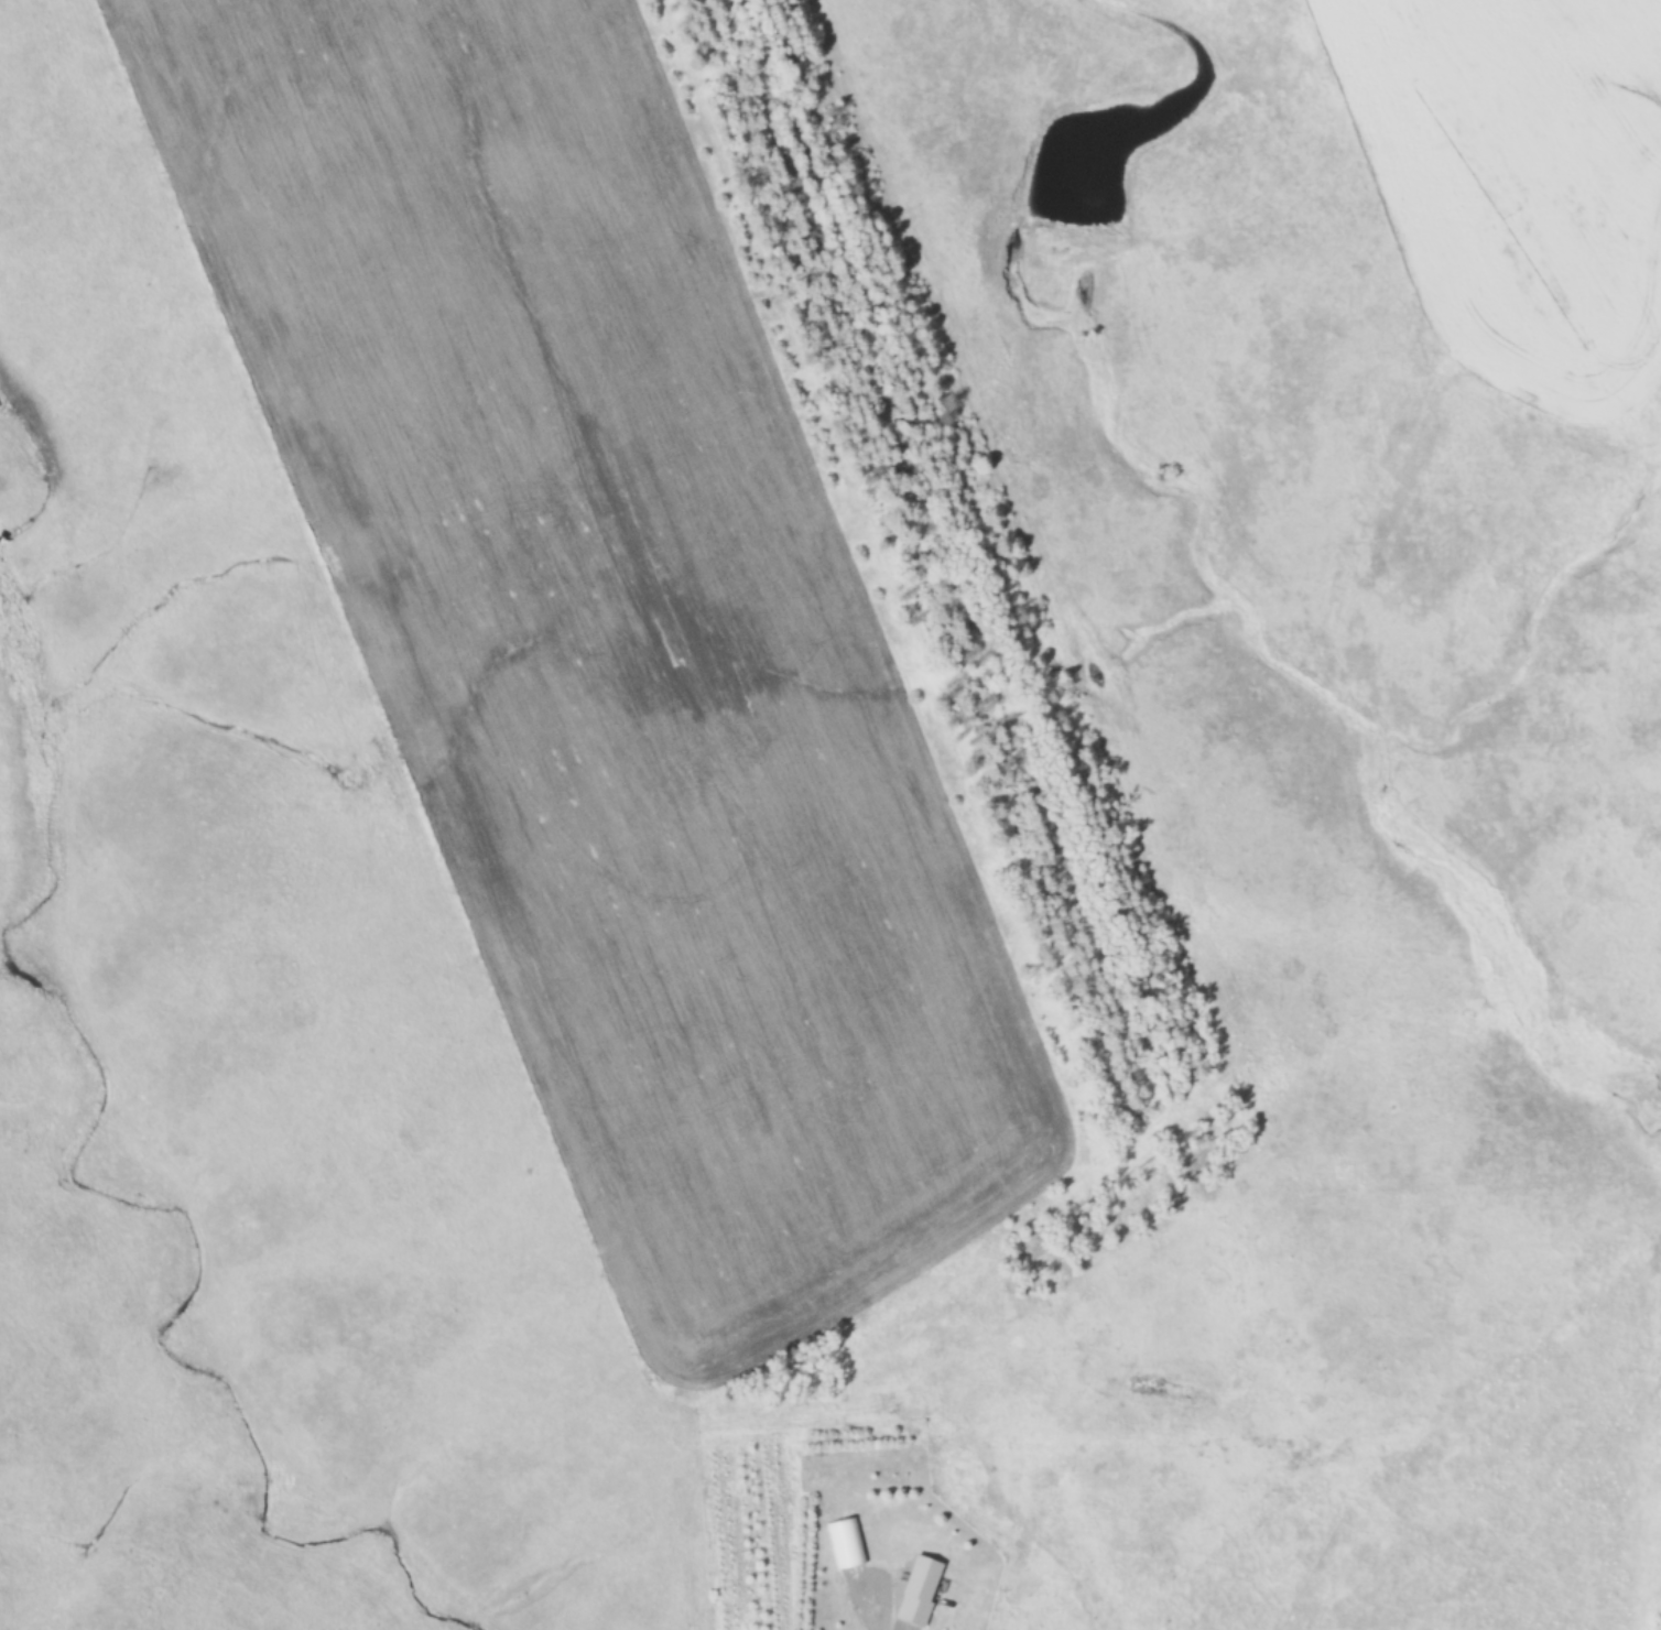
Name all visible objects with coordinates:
building: (920, 1590)

